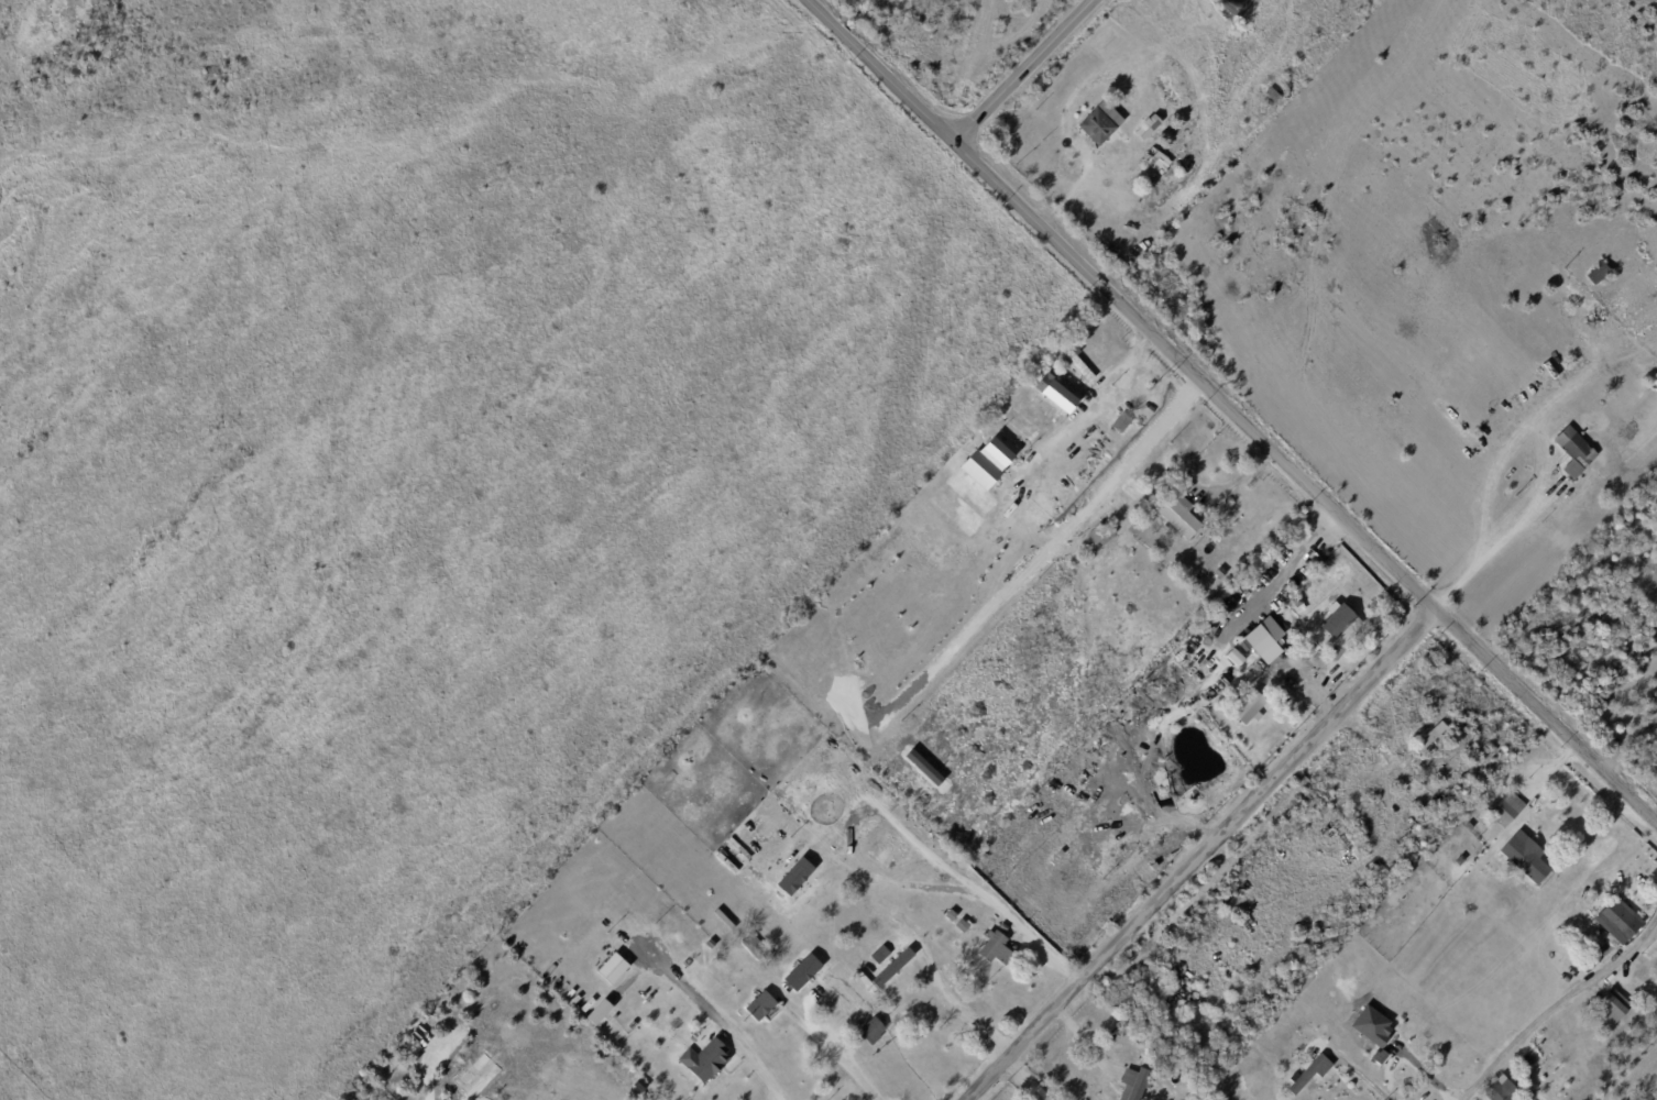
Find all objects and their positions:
road: (880, 69)
road: (1021, 69)
building: (1100, 124)
building: (1149, 129)
building: (1600, 274)
building: (1588, 306)
building: (1079, 364)
building: (1053, 389)
road: (1098, 409)
building: (1605, 415)
building: (1122, 424)
building: (1576, 452)
building: (984, 468)
building: (1193, 470)
road: (1305, 485)
building: (1569, 495)
building: (1179, 517)
building: (1134, 530)
building: (1101, 535)
road: (1493, 551)
building: (1314, 566)
building: (1221, 574)
building: (1647, 579)
building: (1294, 588)
building: (1297, 601)
building: (1339, 623)
building: (1206, 627)
building: (1254, 640)
building: (1241, 669)
building: (1208, 689)
building: (1247, 710)
building: (1120, 736)
building: (1430, 737)
road: (1626, 745)
building: (1507, 810)
building: (1153, 813)
road: (1201, 856)
building: (1529, 857)
building: (937, 862)
building: (1155, 866)
building: (986, 877)
building: (1617, 916)
building: (1009, 924)
building: (962, 925)
building: (757, 948)
building: (996, 948)
building: (899, 965)
building: (617, 968)
building: (1615, 982)
building: (1633, 982)
building: (1655, 987)
road: (1577, 1000)
building: (760, 1005)
road: (951, 1005)
building: (1614, 1005)
building: (603, 1013)
building: (860, 1022)
building: (1376, 1026)
building: (1121, 1030)
building: (871, 1031)
building: (1584, 1033)
building: (699, 1034)
building: (608, 1035)
building: (1431, 1037)
building: (614, 1041)
road: (1066, 1057)
building: (705, 1060)
road: (759, 1068)
building: (1314, 1072)
road: (852, 1075)
road: (1361, 1080)
road: (1427, 1080)
building: (1393, 1081)
building: (1134, 1083)
building: (641, 1087)
road: (1475, 1087)
building: (1496, 1096)

